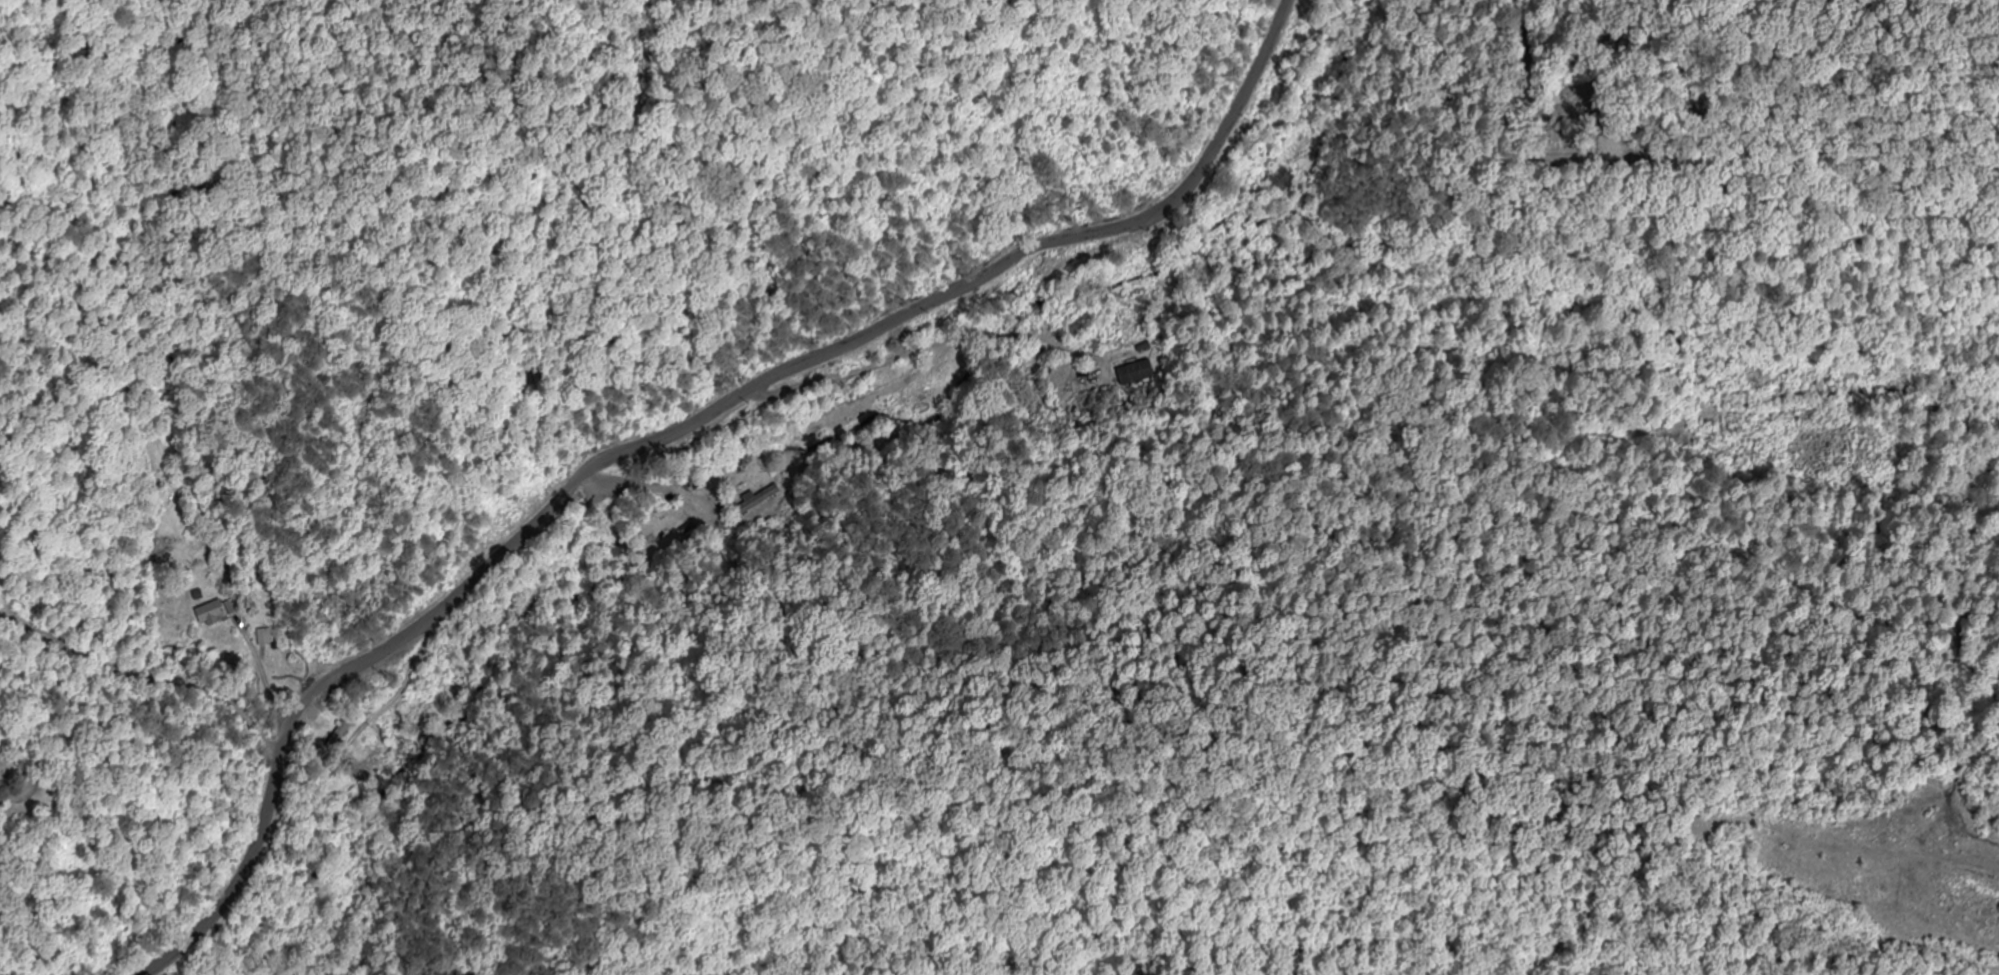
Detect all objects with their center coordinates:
park: (1563, 118)
building: (1282, 177)
building: (1134, 373)
road: (710, 377)
building: (911, 397)
building: (757, 499)
building: (215, 613)
building: (264, 637)
building: (340, 736)
park: (12, 774)
road: (213, 937)

